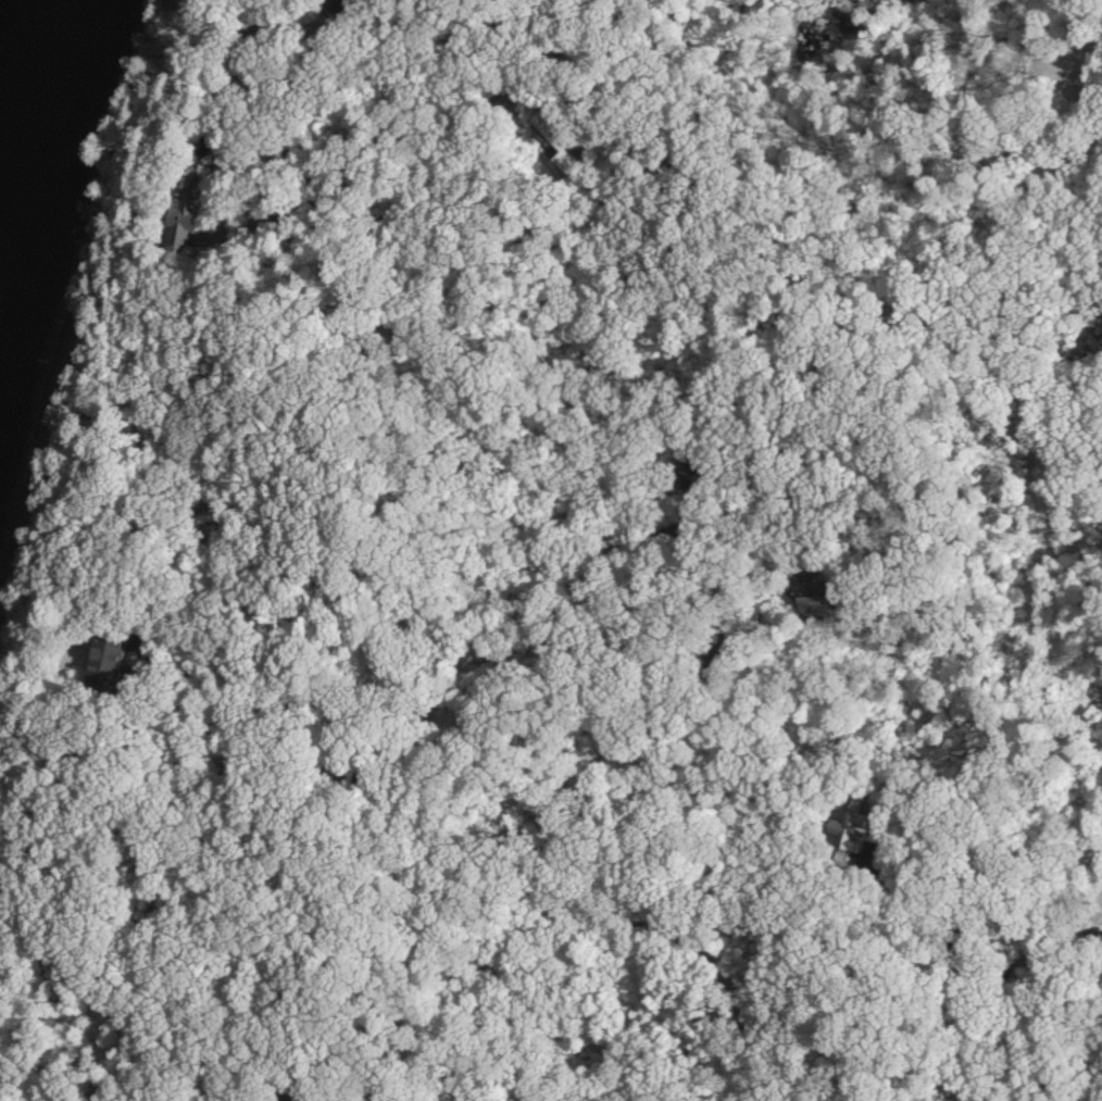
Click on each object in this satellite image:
road: (147, 101)
road: (258, 241)
road: (564, 558)
road: (439, 625)
road: (593, 638)
building: (104, 648)
road: (329, 679)
road: (199, 746)
road: (47, 763)
building: (848, 829)
road: (927, 936)
road: (1068, 960)
road: (1025, 969)
road: (60, 1093)

